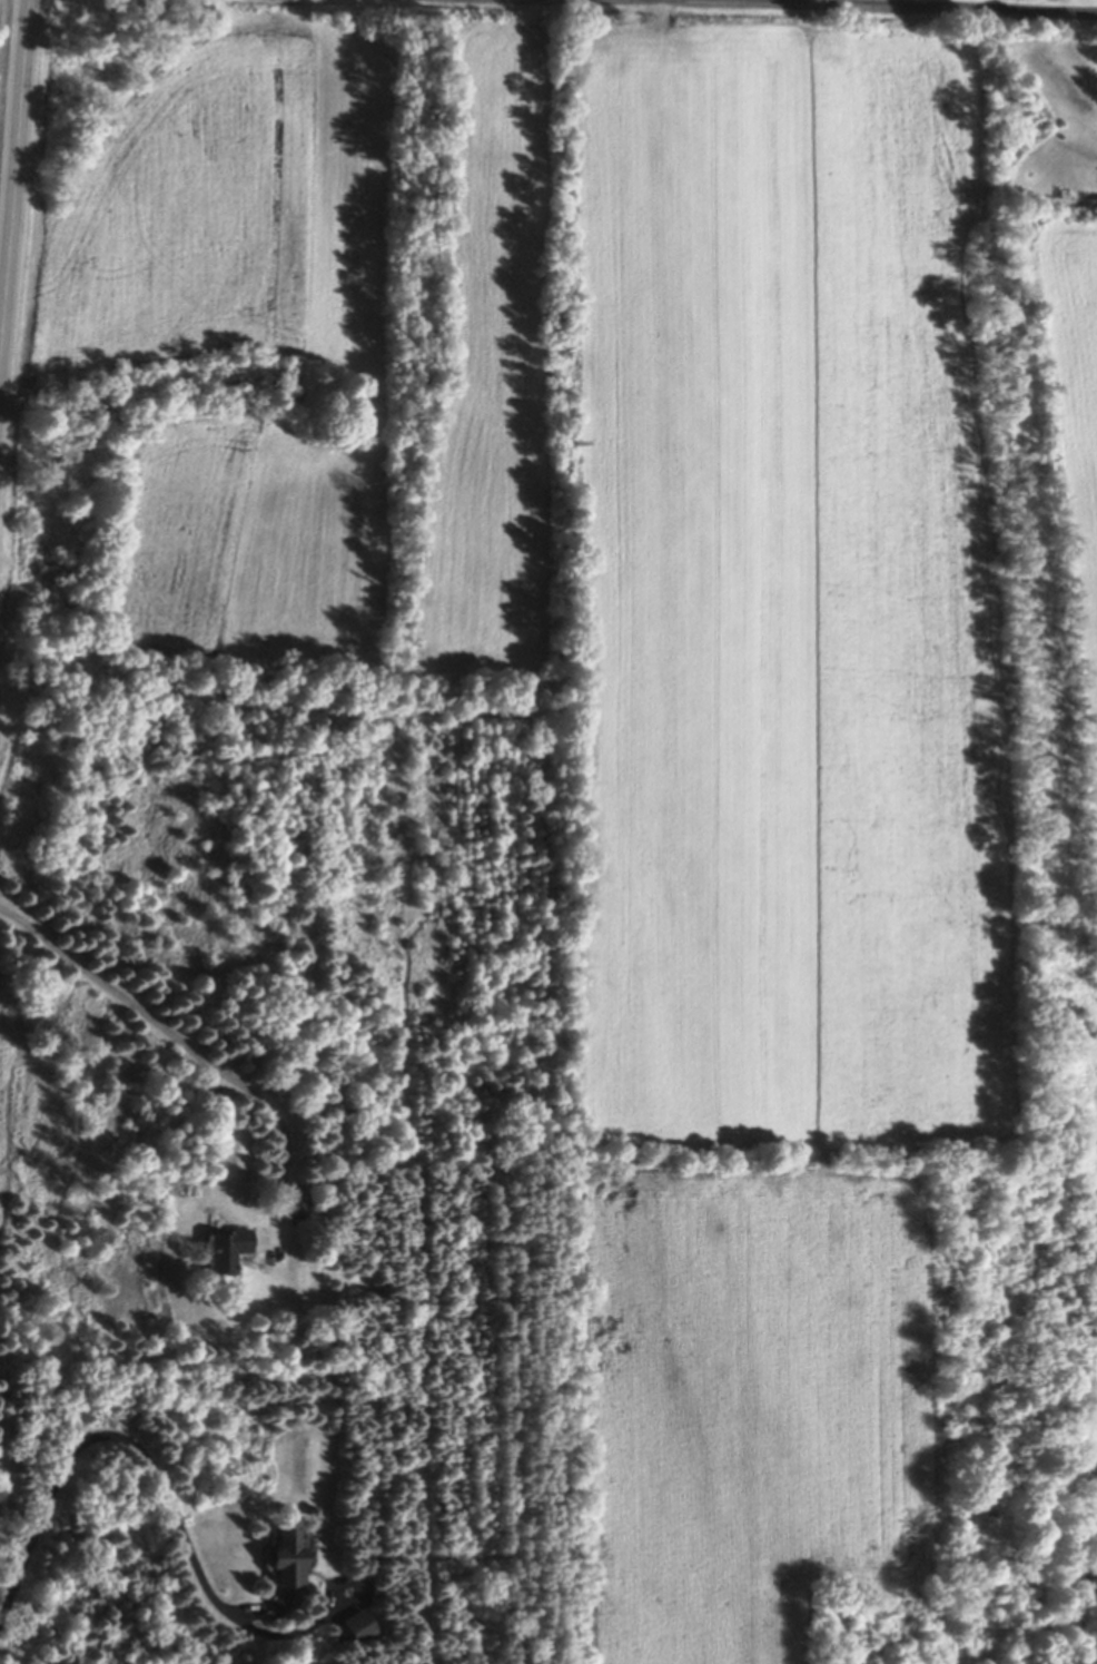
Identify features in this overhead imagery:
road: (839, 8)
road: (14, 191)
road: (188, 1045)
building: (298, 1209)
building: (224, 1253)
road: (135, 1446)
building: (285, 1562)
road: (323, 1617)
building: (355, 1631)

